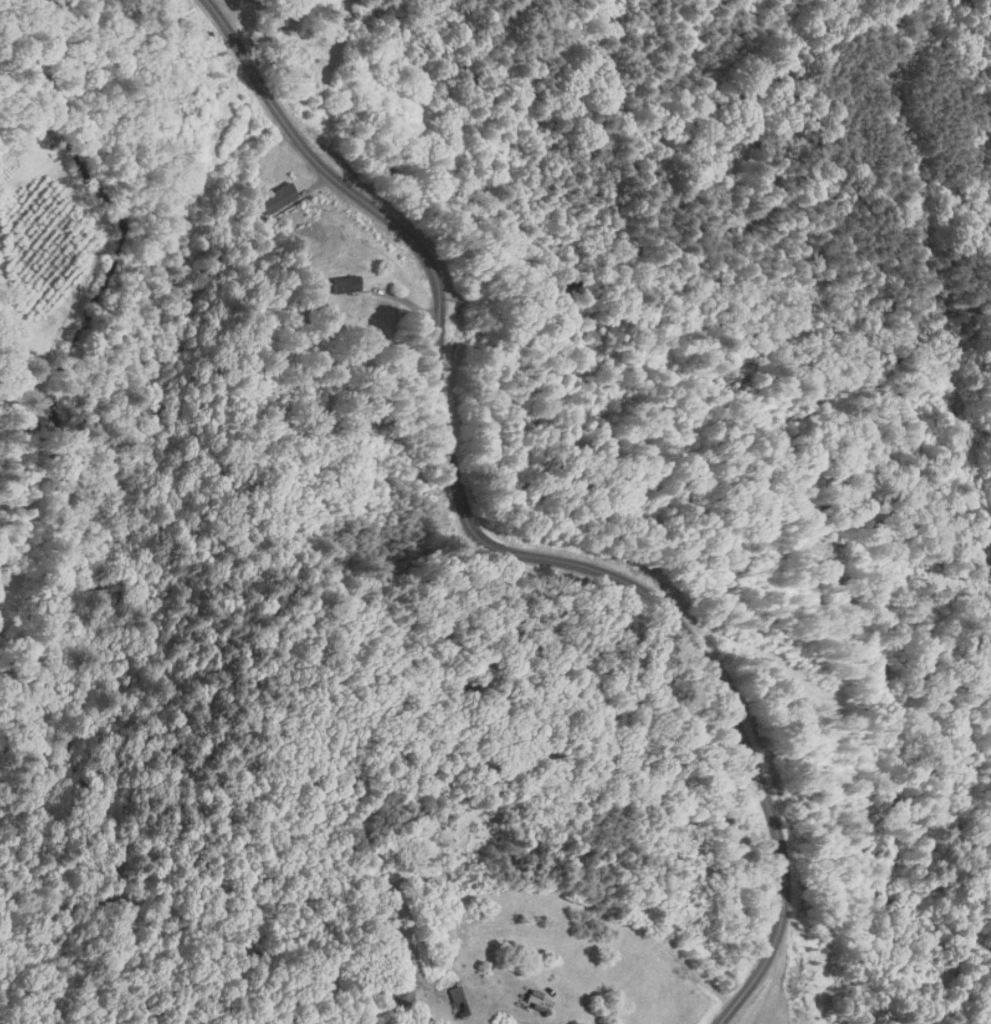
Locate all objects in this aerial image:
building: (276, 198)
building: (343, 284)
road: (296, 515)
road: (493, 545)
road: (772, 985)
building: (457, 1002)
building: (535, 1002)

